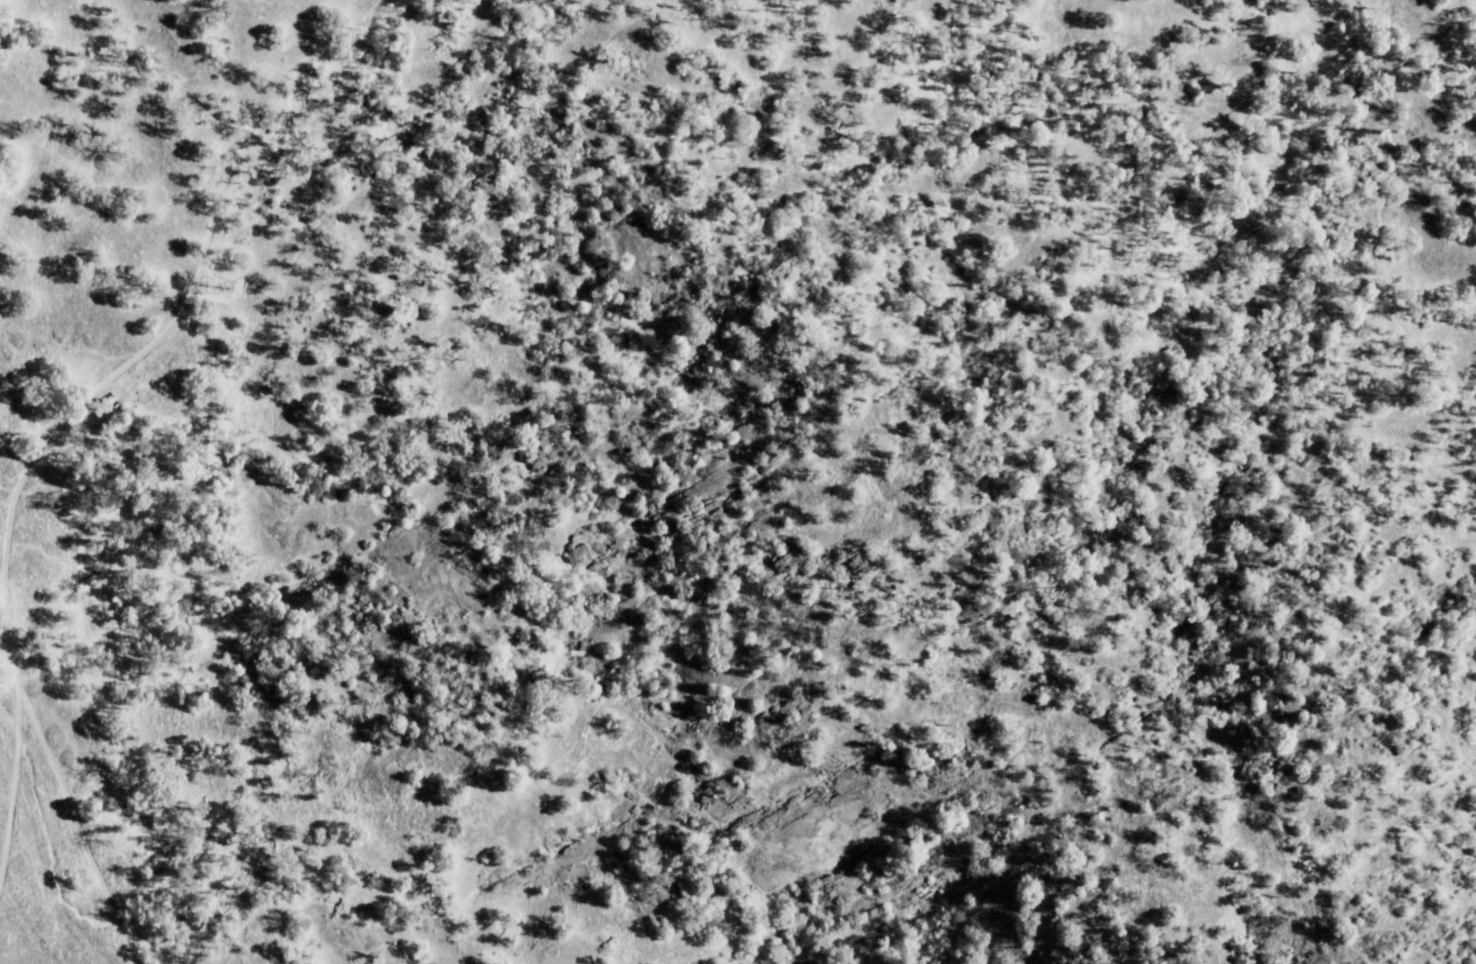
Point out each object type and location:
road: (1465, 3)
road: (74, 389)

